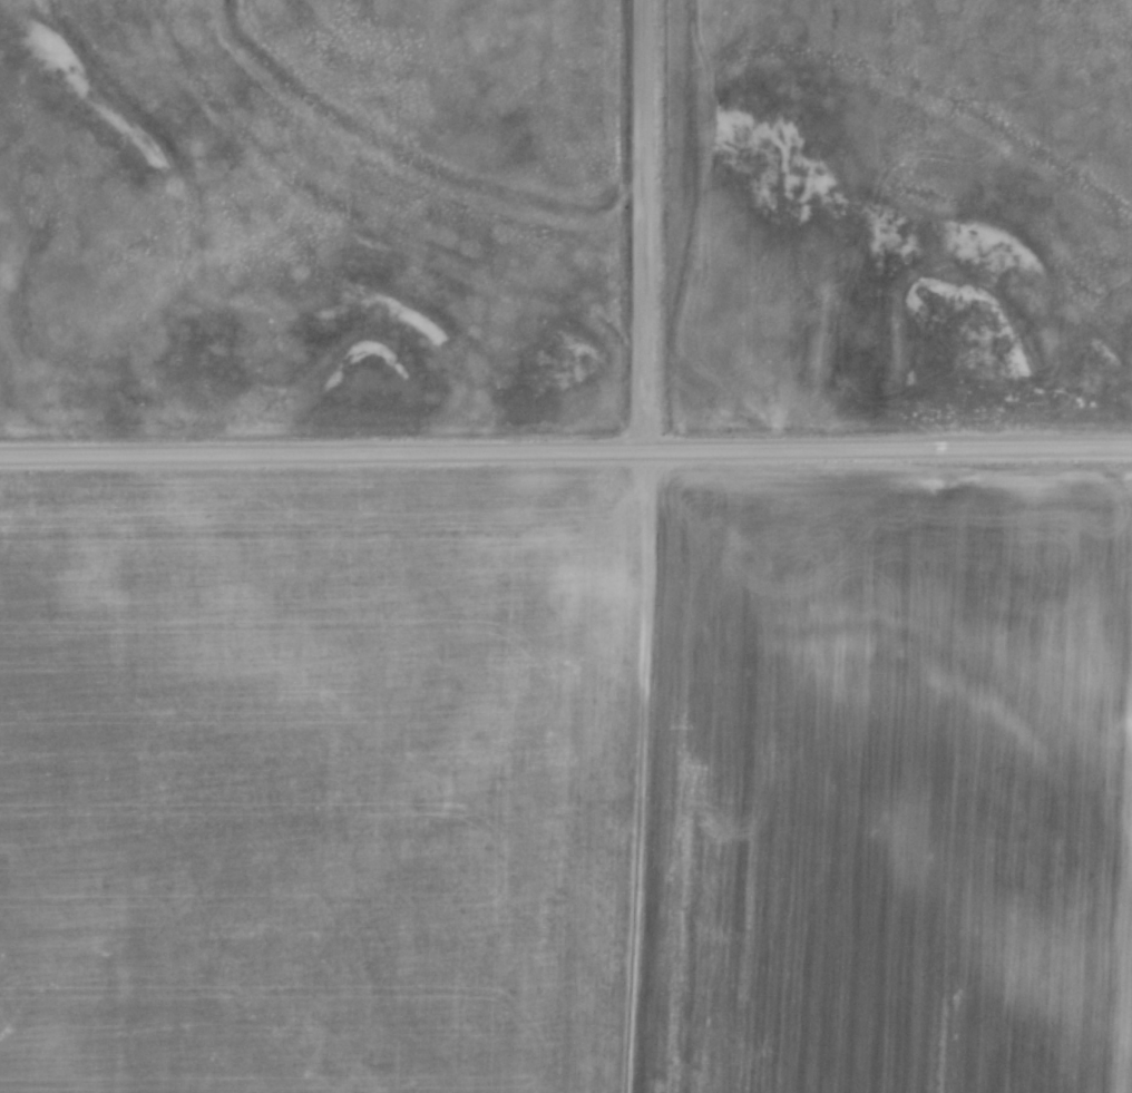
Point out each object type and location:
road: (640, 223)
road: (565, 446)

